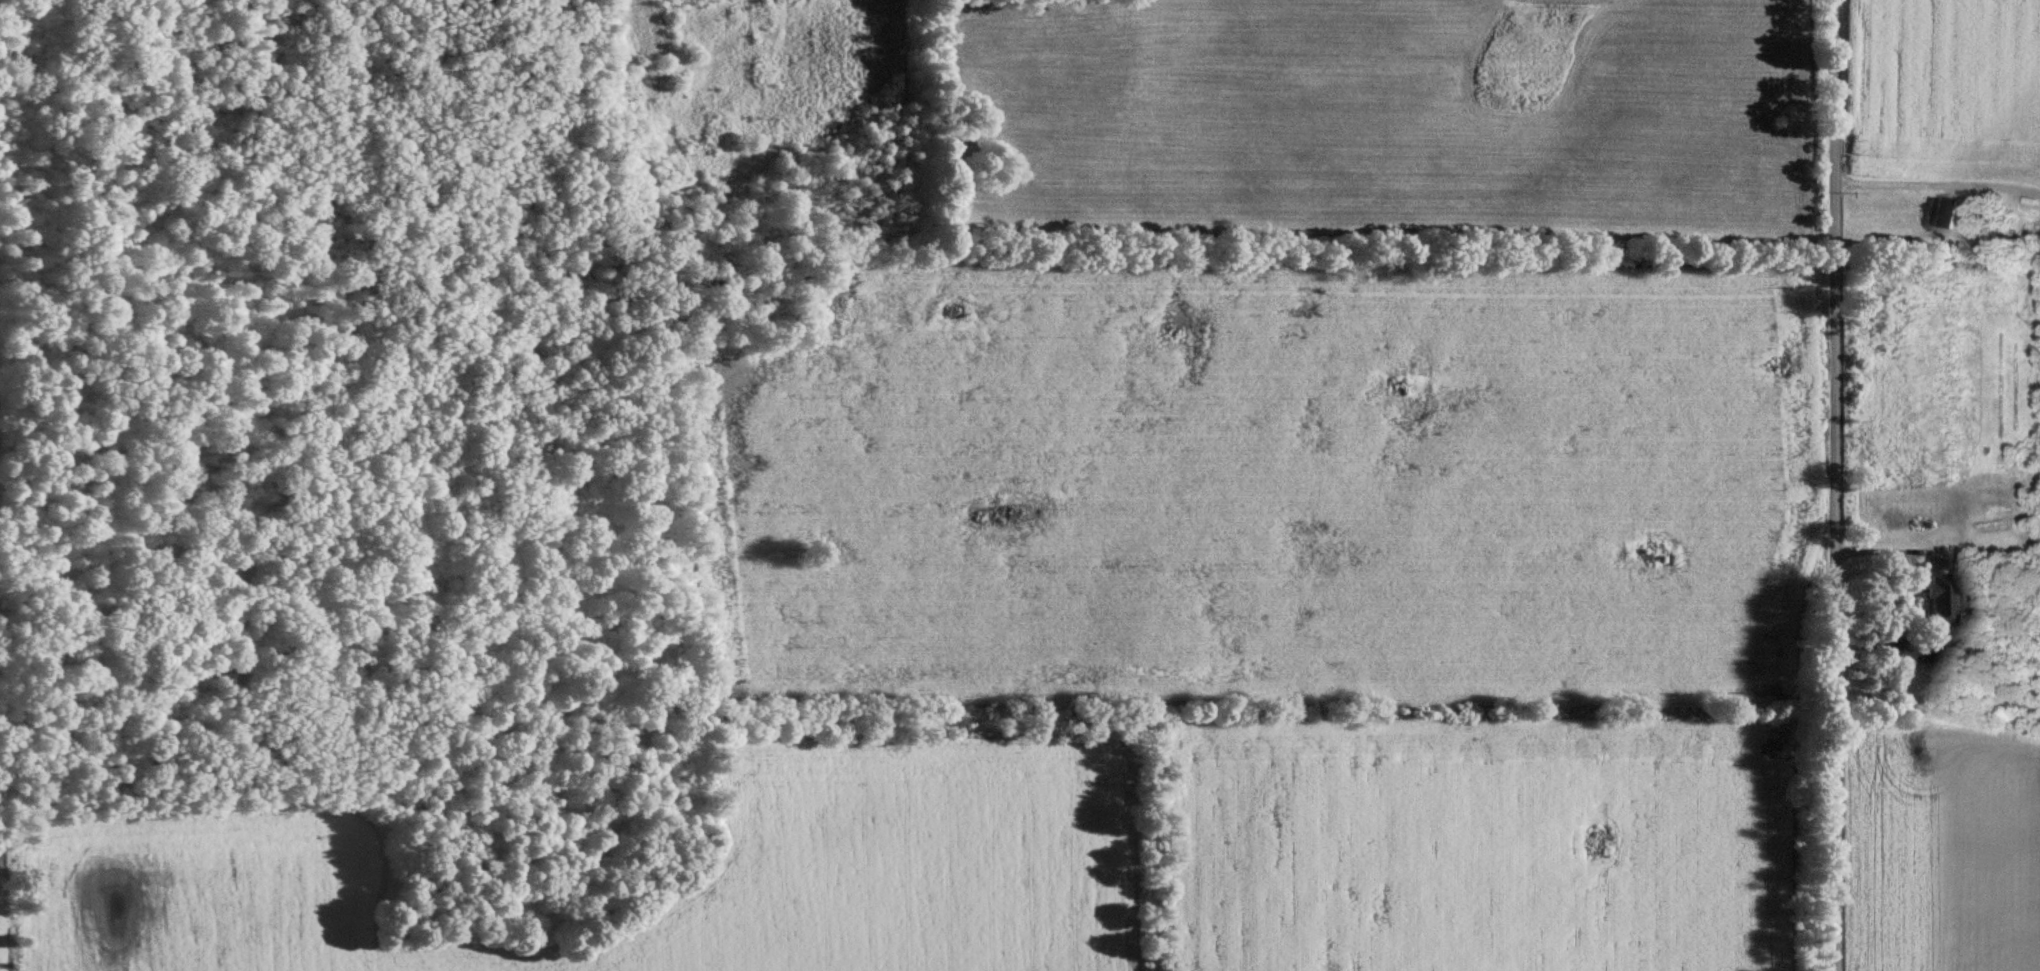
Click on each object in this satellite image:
road: (1936, 185)
building: (1944, 214)
road: (1831, 485)
road: (1887, 543)
building: (1942, 602)
building: (1916, 651)

